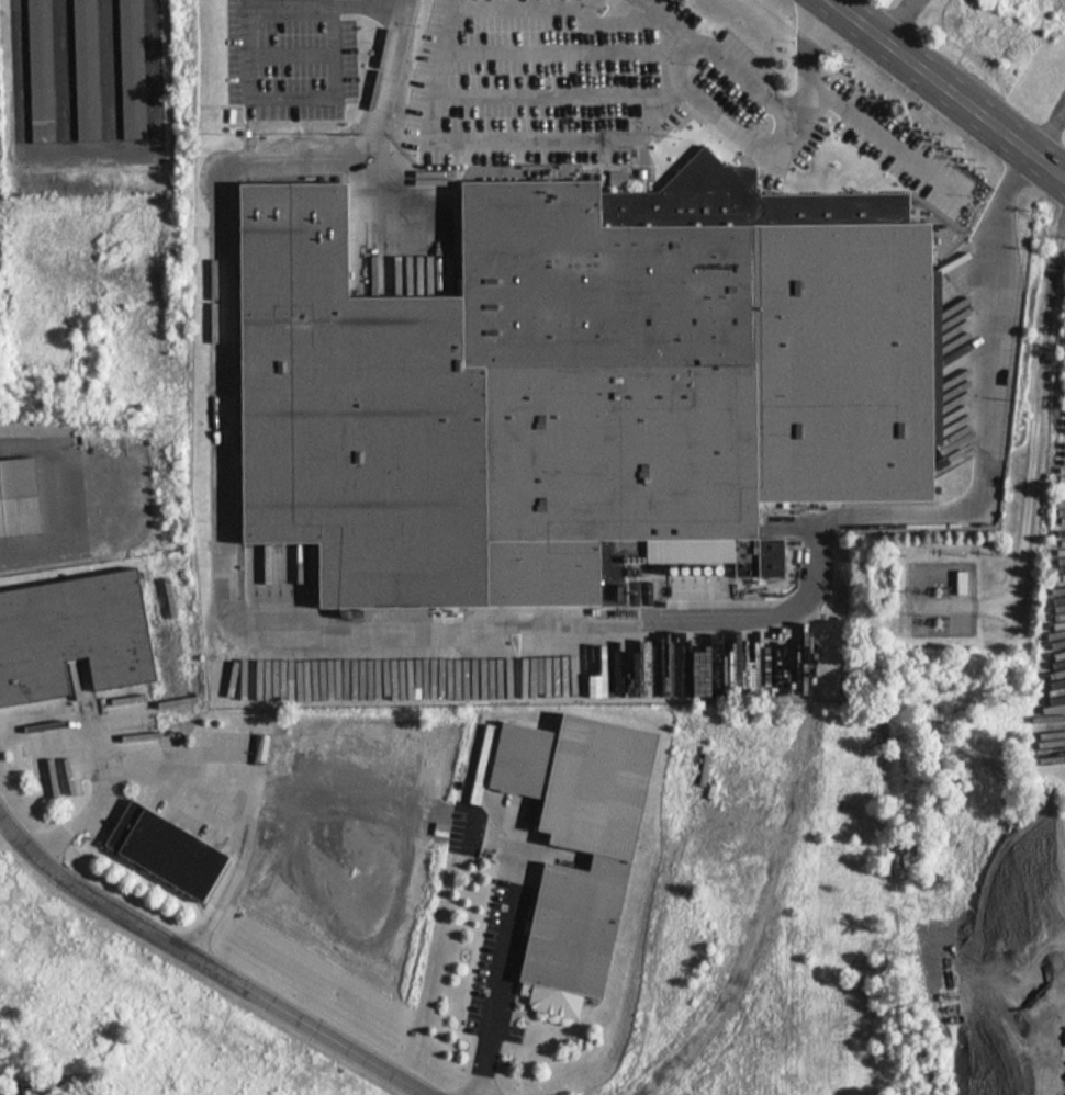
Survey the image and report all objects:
road: (502, 2)
road: (904, 21)
road: (557, 47)
road: (292, 49)
road: (248, 52)
road: (156, 68)
building: (131, 69)
building: (85, 70)
building: (38, 71)
road: (948, 89)
road: (552, 93)
road: (753, 106)
road: (731, 124)
road: (1045, 129)
road: (886, 132)
road: (519, 135)
building: (926, 202)
building: (567, 376)
building: (19, 498)
road: (52, 512)
building: (963, 582)
building: (76, 630)
road: (437, 648)
road: (70, 721)
road: (198, 791)
road: (323, 803)
building: (581, 840)
building: (166, 846)
road: (281, 849)
road: (333, 865)
road: (445, 902)
road: (752, 939)
road: (205, 964)
road: (500, 970)

